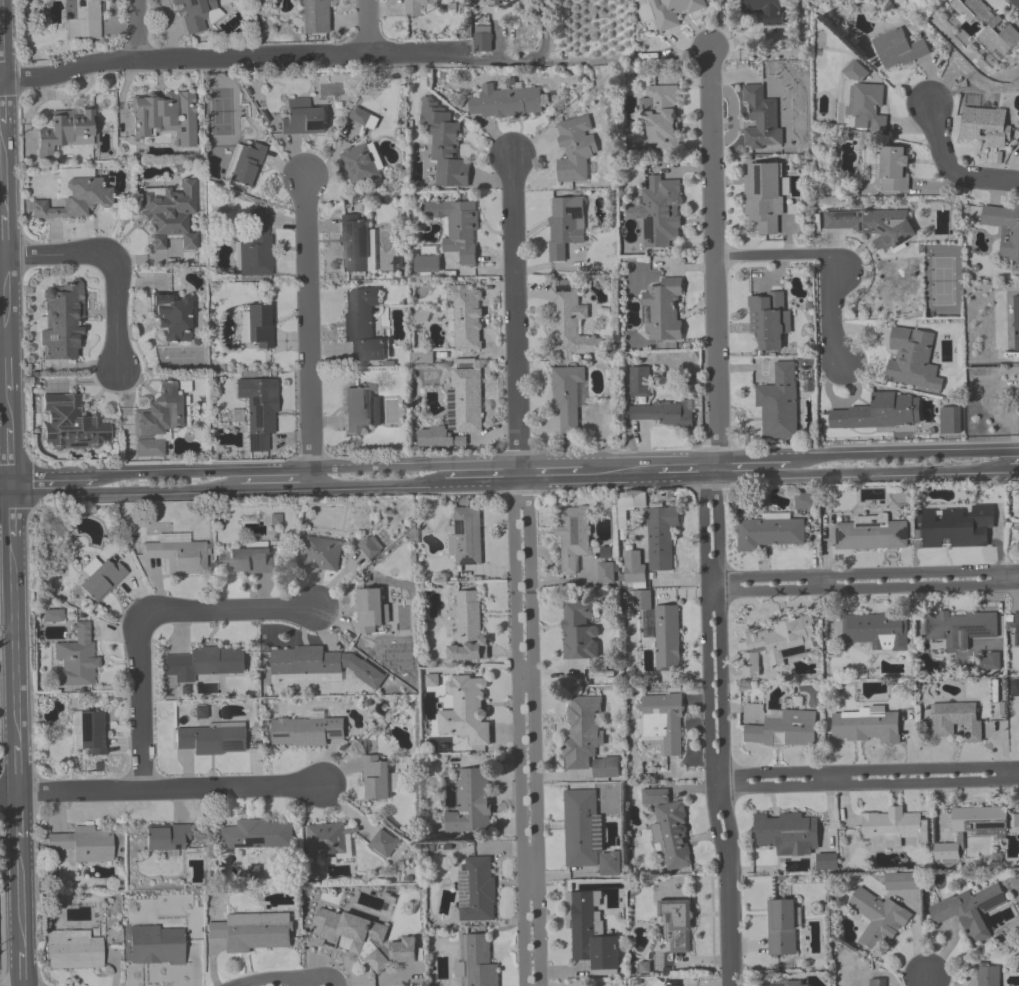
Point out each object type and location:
building: (494, 3)
building: (415, 6)
building: (674, 11)
building: (767, 11)
building: (193, 13)
building: (315, 16)
building: (84, 20)
road: (725, 28)
building: (989, 28)
road: (364, 29)
road: (542, 29)
road: (137, 31)
building: (482, 39)
building: (899, 50)
road: (269, 60)
road: (0, 62)
road: (0, 78)
building: (505, 103)
building: (868, 106)
road: (2, 112)
building: (164, 116)
building: (360, 117)
building: (303, 118)
building: (662, 118)
building: (761, 119)
building: (985, 126)
building: (66, 130)
building: (444, 146)
building: (574, 153)
building: (246, 165)
building: (360, 165)
road: (959, 166)
building: (892, 169)
building: (75, 193)
building: (762, 198)
building: (660, 211)
building: (170, 212)
building: (872, 224)
building: (565, 225)
building: (456, 228)
building: (1005, 231)
building: (354, 243)
building: (255, 247)
road: (713, 254)
road: (826, 258)
building: (428, 261)
road: (113, 263)
building: (663, 310)
road: (514, 311)
building: (172, 316)
building: (465, 318)
road: (7, 319)
building: (61, 320)
building: (768, 320)
building: (568, 323)
building: (364, 324)
building: (258, 325)
road: (308, 332)
building: (1009, 333)
road: (4, 341)
building: (912, 361)
building: (640, 380)
building: (566, 394)
building: (467, 400)
building: (778, 403)
building: (358, 409)
building: (257, 412)
building: (877, 412)
building: (160, 413)
building: (664, 414)
building: (70, 421)
building: (950, 422)
road: (909, 453)
road: (758, 458)
road: (651, 461)
road: (552, 464)
road: (712, 467)
road: (1014, 468)
road: (307, 470)
road: (899, 472)
road: (519, 473)
road: (749, 476)
road: (53, 477)
road: (5, 478)
road: (674, 478)
road: (610, 479)
road: (550, 480)
road: (481, 482)
road: (378, 484)
road: (277, 487)
road: (126, 490)
road: (5, 493)
building: (805, 501)
road: (11, 525)
building: (957, 527)
building: (769, 534)
building: (871, 536)
building: (467, 537)
building: (574, 537)
building: (661, 537)
building: (321, 554)
building: (177, 556)
building: (251, 560)
building: (634, 570)
building: (605, 573)
road: (861, 574)
road: (1006, 577)
building: (103, 580)
road: (822, 582)
road: (861, 588)
road: (229, 611)
building: (371, 611)
building: (54, 616)
building: (660, 628)
building: (960, 628)
building: (580, 630)
building: (468, 631)
building: (876, 632)
building: (775, 644)
building: (76, 660)
building: (989, 662)
building: (206, 663)
building: (320, 667)
road: (525, 673)
road: (721, 674)
road: (14, 675)
road: (705, 675)
building: (1014, 688)
road: (139, 705)
building: (466, 710)
building: (663, 721)
building: (957, 721)
building: (866, 726)
building: (784, 729)
building: (306, 731)
building: (88, 732)
road: (532, 732)
road: (519, 733)
building: (212, 739)
building: (587, 739)
road: (862, 771)
building: (378, 779)
road: (864, 785)
road: (171, 790)
road: (8, 793)
building: (471, 803)
building: (983, 820)
road: (17, 827)
building: (892, 828)
building: (669, 829)
building: (586, 833)
building: (257, 836)
building: (792, 836)
building: (168, 839)
building: (330, 841)
building: (383, 844)
building: (85, 846)
building: (946, 851)
road: (529, 865)
building: (902, 882)
building: (476, 890)
road: (18, 898)
building: (970, 912)
building: (878, 919)
building: (1012, 925)
building: (783, 926)
building: (673, 927)
road: (726, 929)
building: (254, 932)
building: (590, 934)
building: (363, 938)
building: (157, 945)
building: (74, 950)
road: (19, 960)
building: (476, 962)
building: (987, 974)
road: (267, 980)
road: (925, 980)
building: (879, 982)
building: (788, 983)

